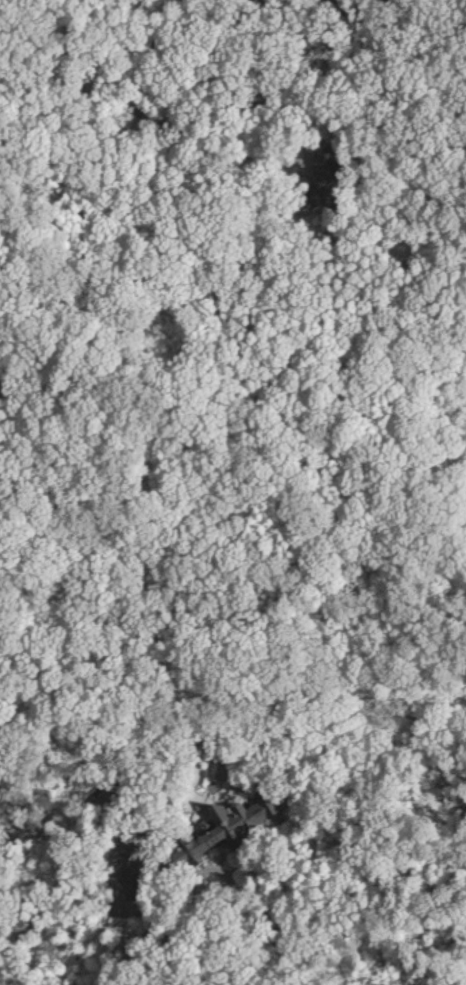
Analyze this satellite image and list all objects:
road: (156, 117)
building: (332, 171)
building: (236, 820)
road: (150, 930)

